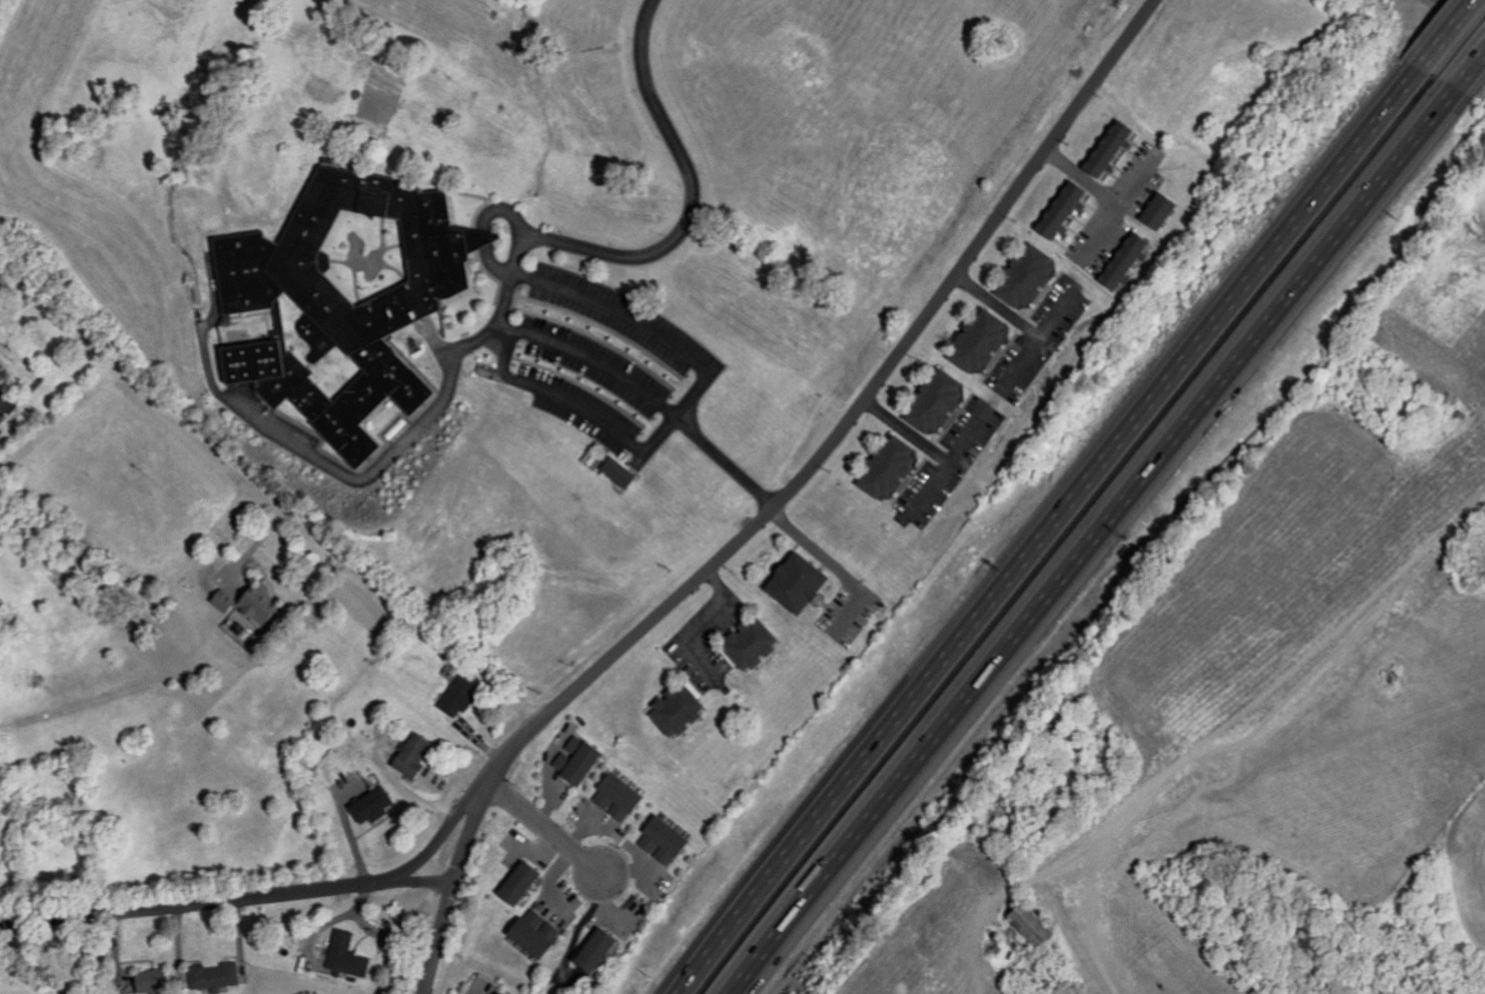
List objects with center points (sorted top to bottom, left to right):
road: (1468, 7)
road: (1437, 33)
road: (1475, 82)
building: (1102, 149)
road: (1134, 181)
road: (690, 193)
road: (1102, 194)
building: (1054, 211)
building: (1152, 211)
building: (1018, 277)
building: (351, 292)
road: (1022, 321)
building: (971, 341)
road: (1023, 360)
building: (1, 363)
road: (612, 374)
building: (926, 402)
road: (967, 437)
road: (927, 447)
building: (881, 466)
building: (623, 472)
road: (269, 498)
road: (782, 501)
road: (1045, 530)
road: (1104, 543)
road: (834, 566)
building: (789, 583)
building: (227, 601)
building: (264, 606)
road: (708, 619)
building: (743, 643)
building: (460, 695)
building: (670, 710)
building: (416, 755)
building: (583, 759)
building: (623, 796)
building: (375, 805)
road: (551, 806)
road: (543, 829)
road: (584, 830)
road: (447, 831)
building: (670, 839)
road: (541, 844)
road: (626, 869)
road: (551, 880)
building: (525, 882)
road: (227, 898)
road: (606, 901)
building: (1038, 924)
building: (541, 932)
building: (603, 948)
building: (349, 955)
building: (217, 976)
building: (156, 981)
building: (505, 993)

